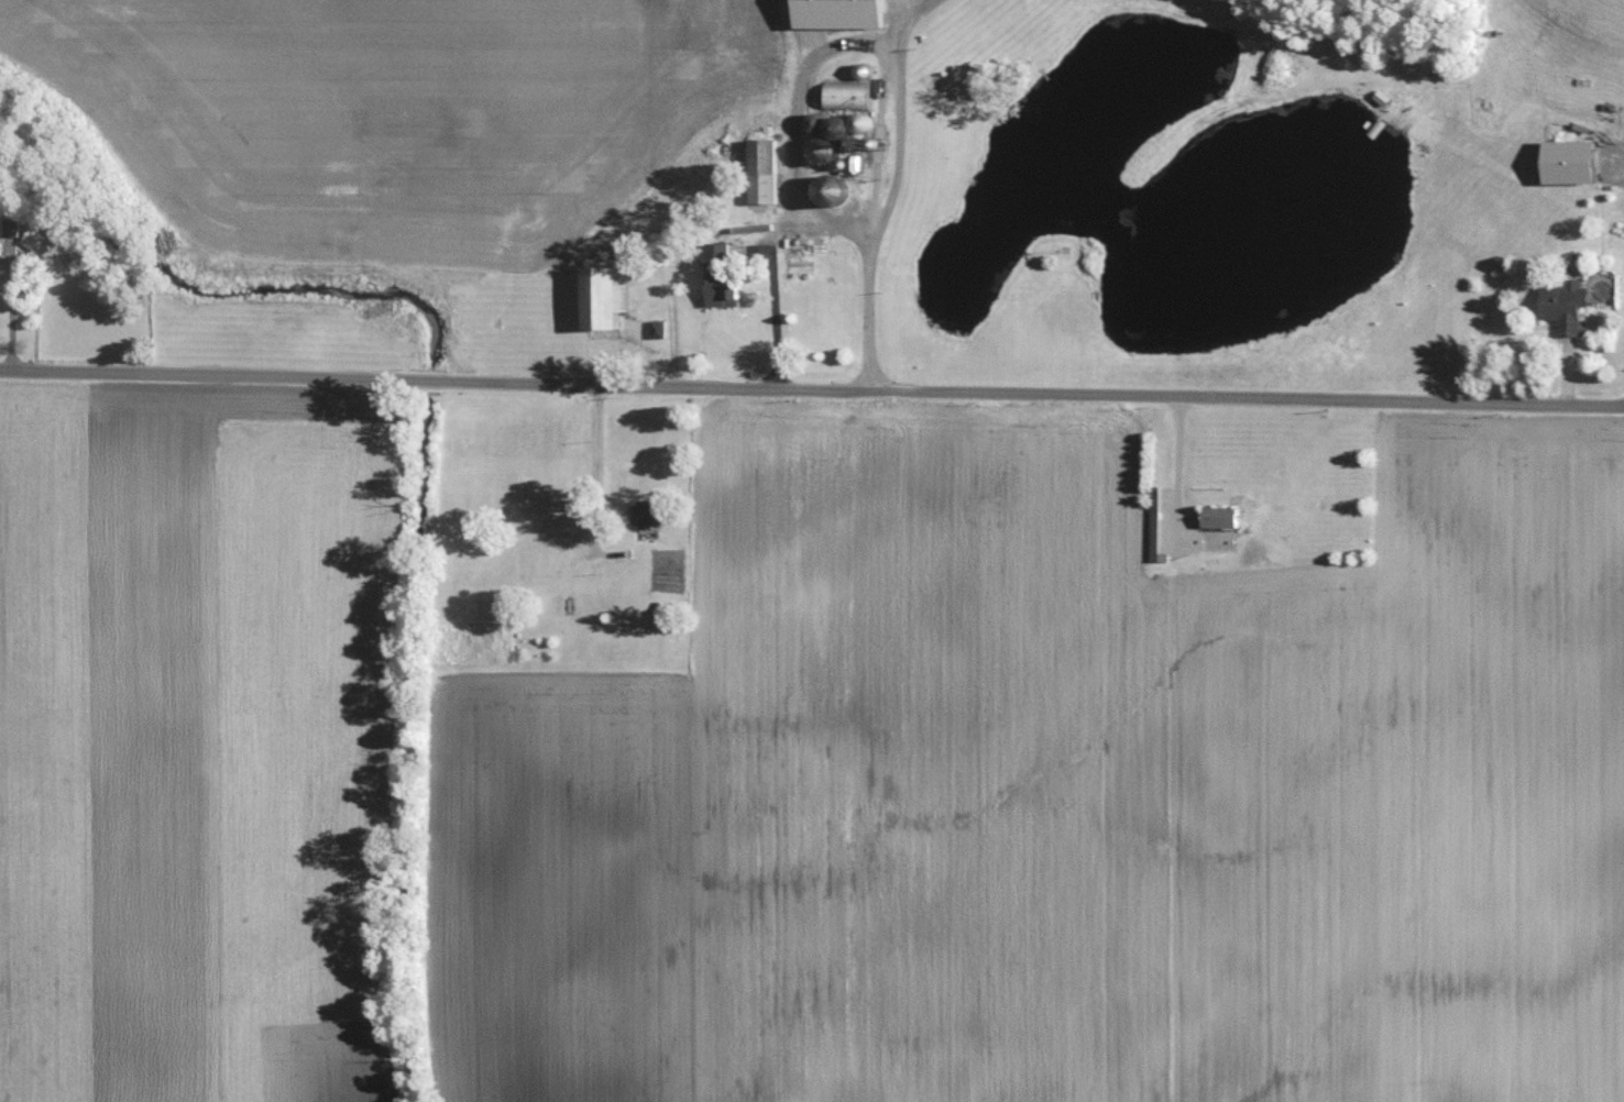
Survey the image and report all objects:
building: (831, 13)
road: (875, 42)
building: (1561, 162)
building: (758, 172)
road: (778, 223)
building: (11, 227)
building: (36, 240)
building: (712, 255)
building: (716, 290)
building: (596, 294)
road: (770, 308)
building: (1561, 308)
road: (812, 386)
road: (595, 492)
building: (1153, 503)
building: (1215, 517)

